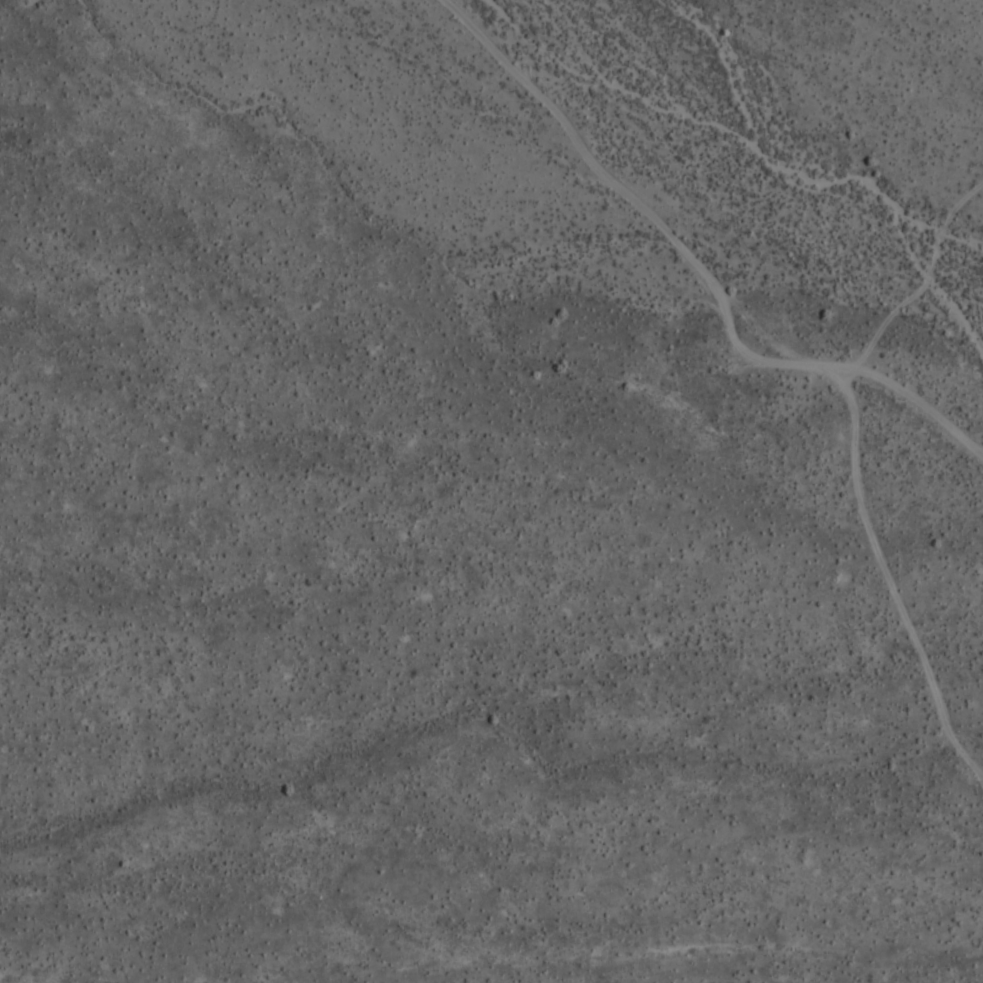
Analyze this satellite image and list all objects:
road: (578, 144)

